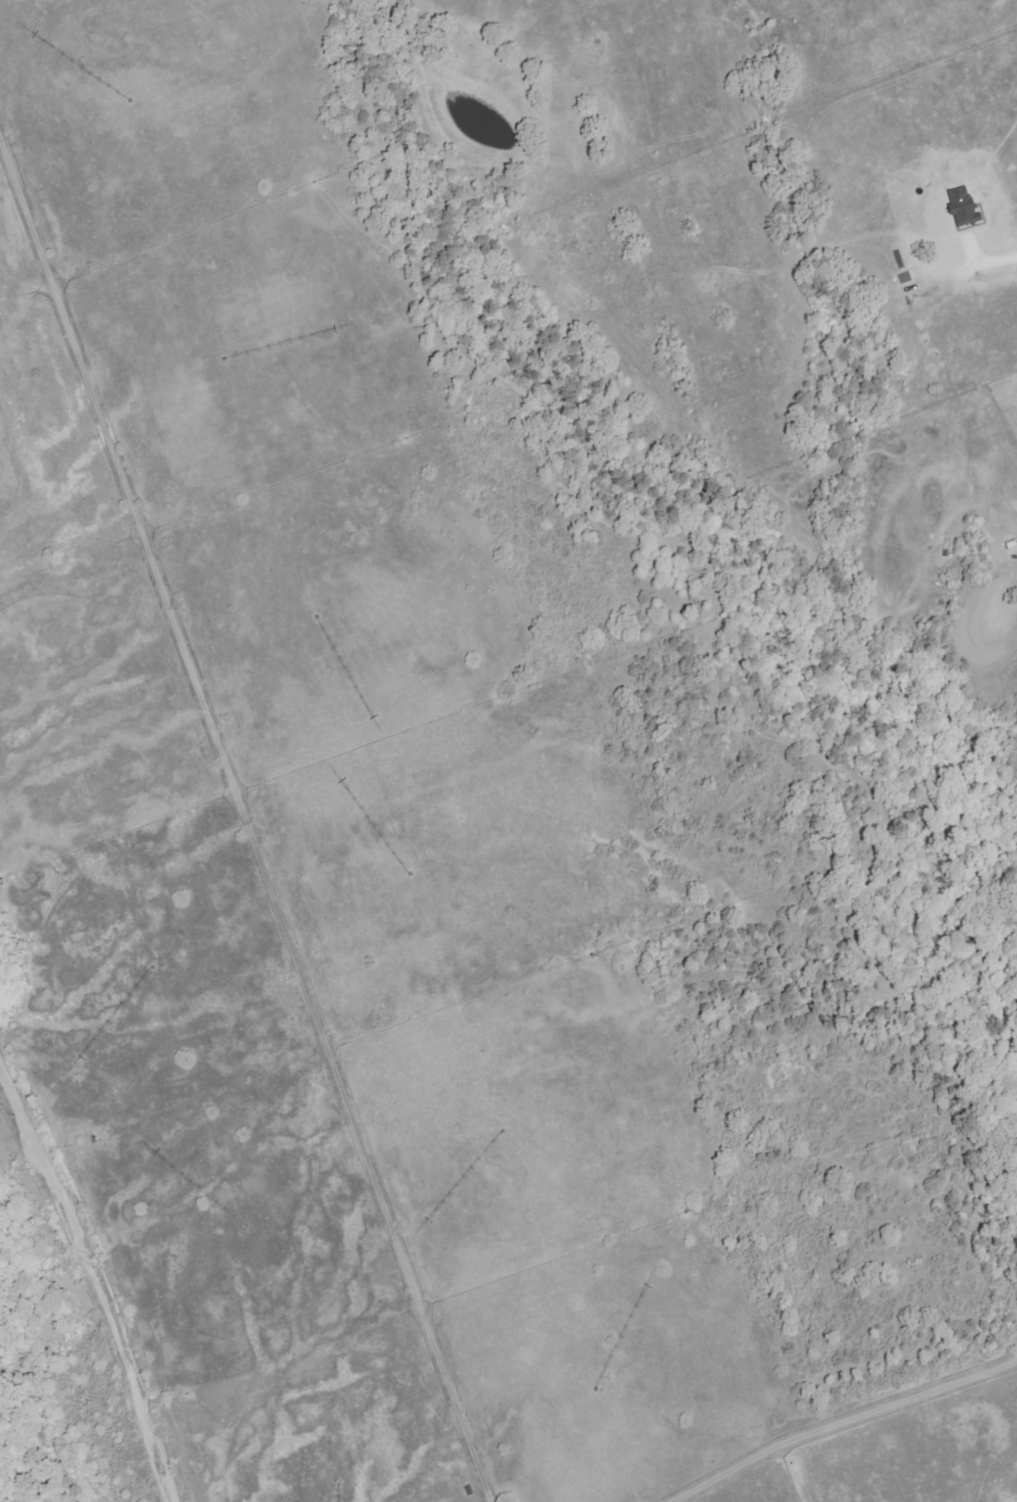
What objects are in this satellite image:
building: (962, 205)
road: (994, 256)
road: (92, 1283)

